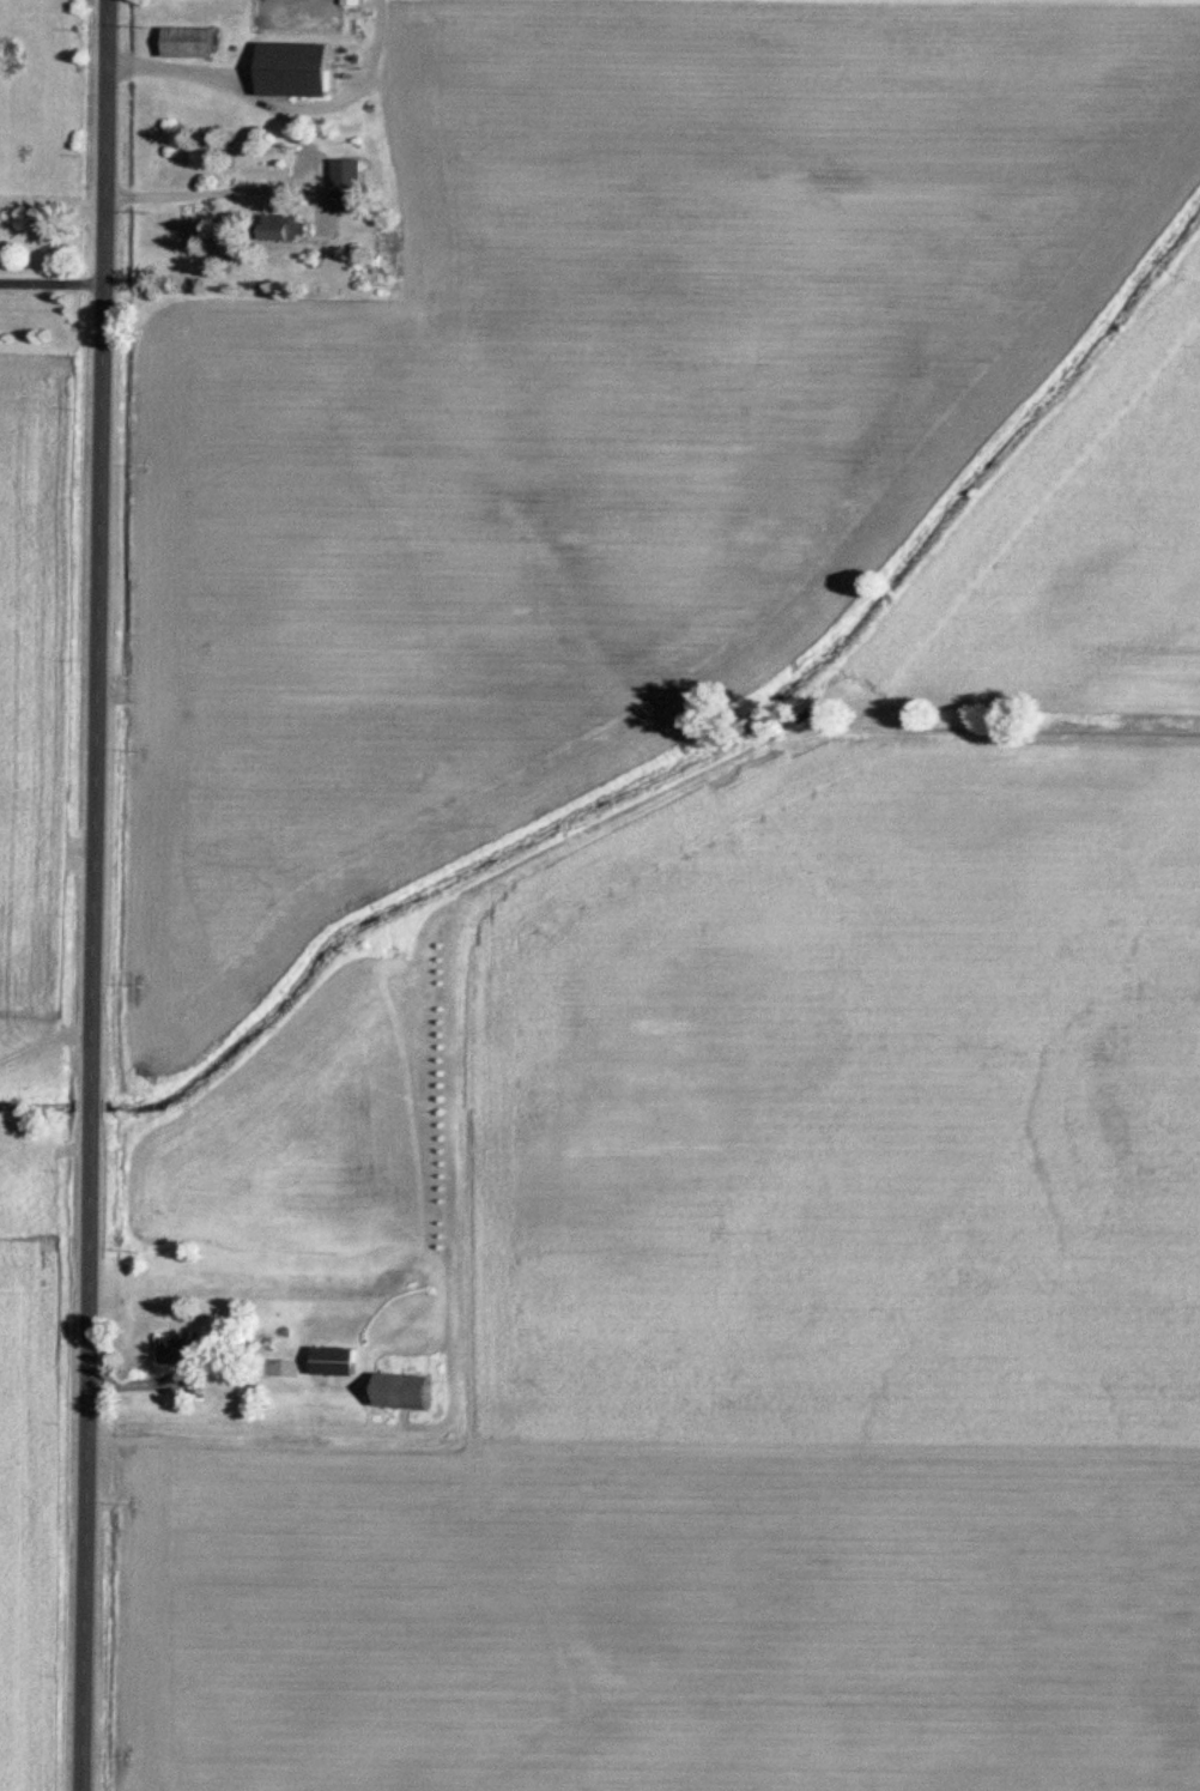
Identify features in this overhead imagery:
building: (352, 4)
building: (190, 44)
building: (296, 72)
road: (308, 150)
building: (286, 230)
road: (49, 282)
road: (98, 895)
building: (178, 1354)
building: (335, 1365)
building: (405, 1396)

